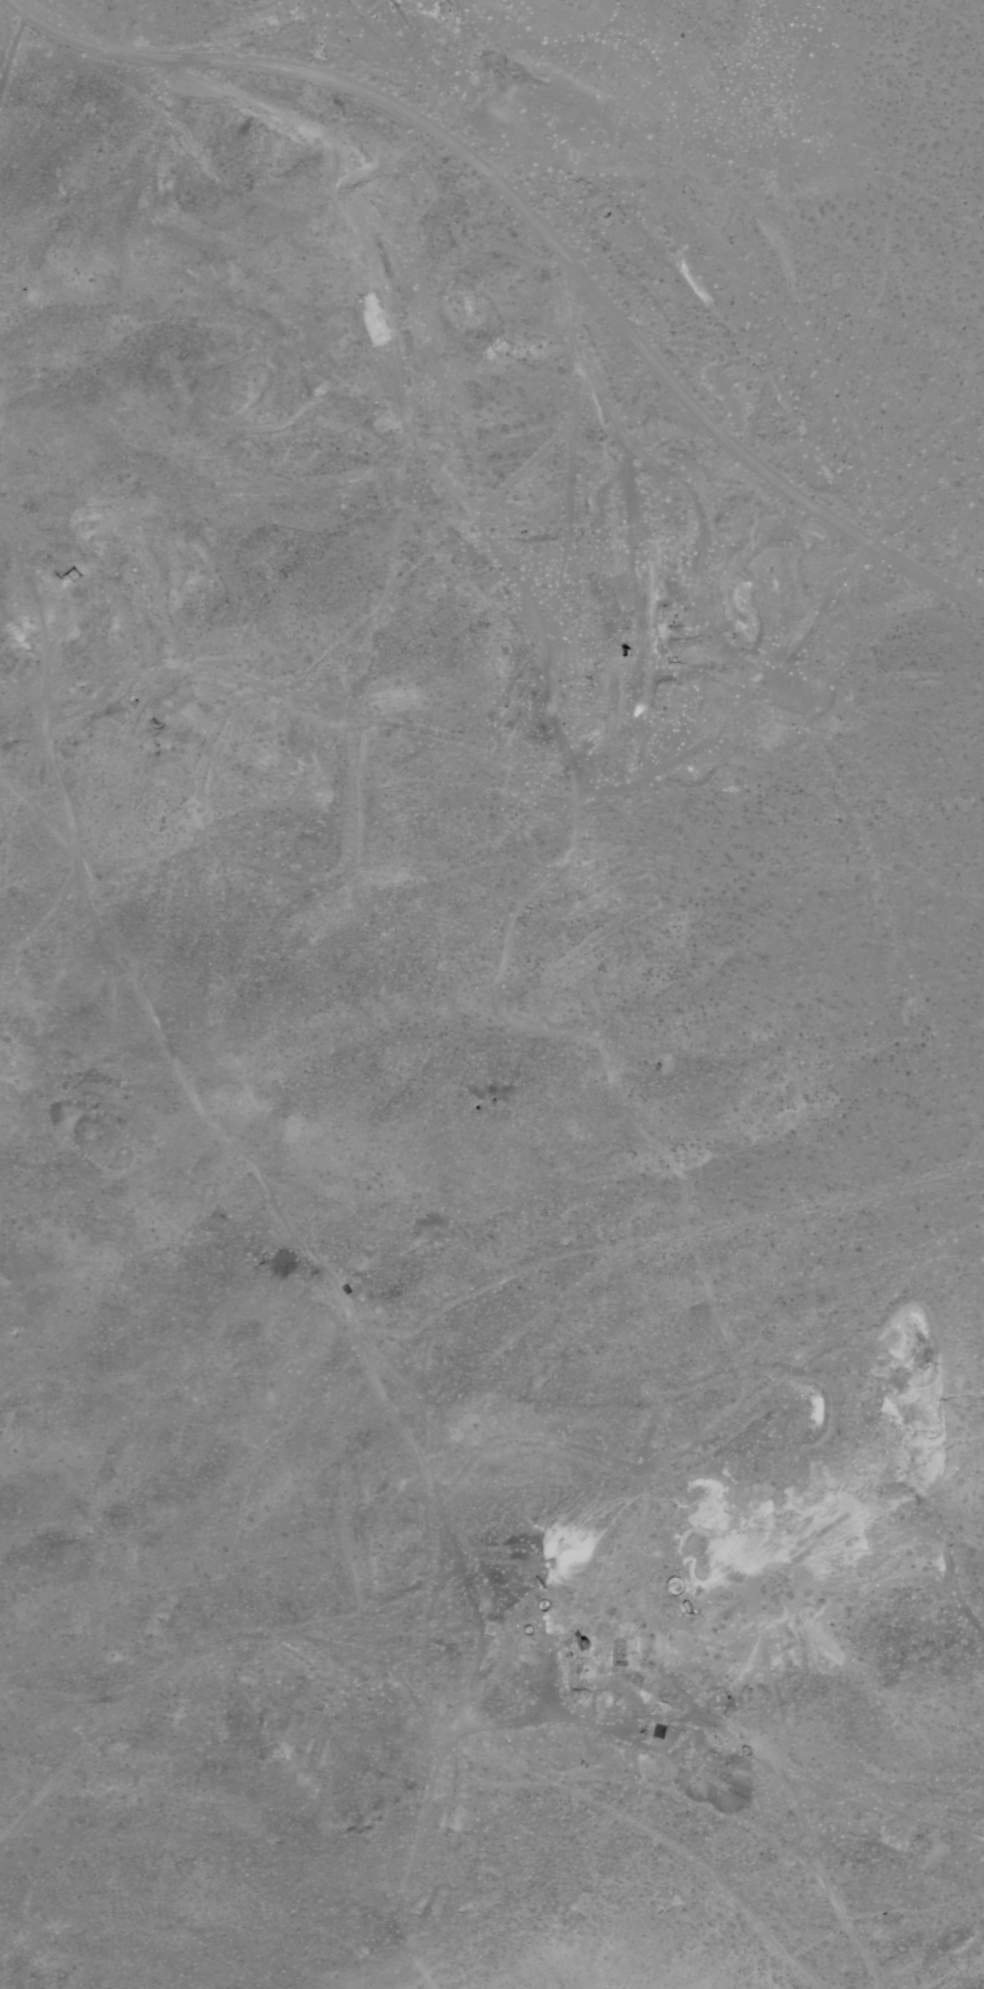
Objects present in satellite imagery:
road: (527, 235)

